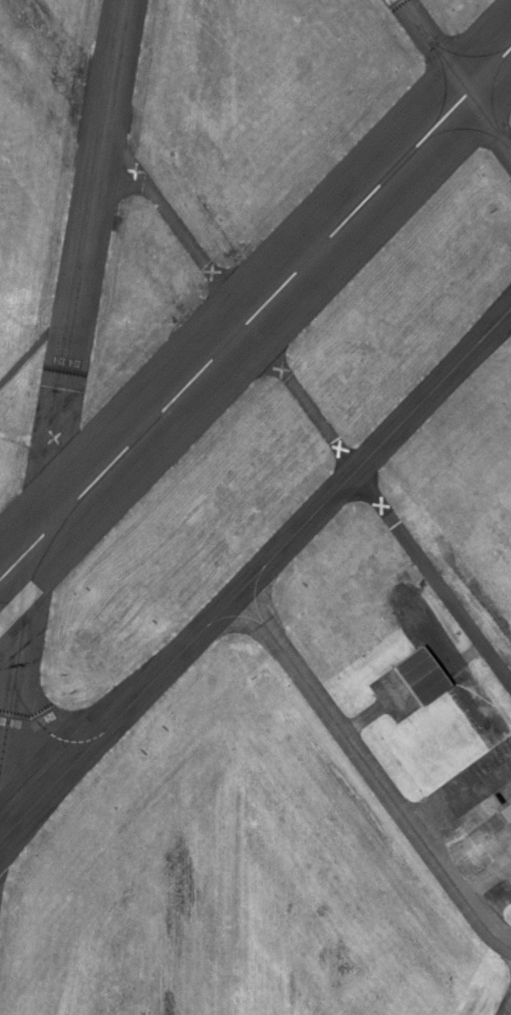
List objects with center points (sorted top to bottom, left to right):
airport taxiway: (455, 75)
airport runway: (255, 312)
road: (307, 405)
airport: (255, 507)
airport taxiway: (255, 574)
airport taxiway: (19, 663)
building: (426, 676)

